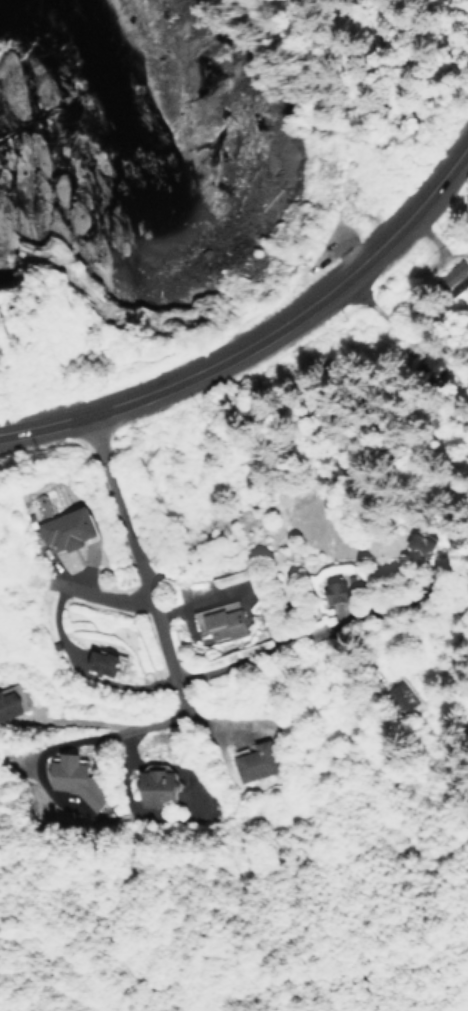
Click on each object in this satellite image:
road: (400, 63)
road: (465, 142)
road: (328, 232)
parking lot: (338, 232)
road: (277, 257)
road: (340, 278)
park: (47, 297)
road: (95, 408)
building: (65, 528)
building: (412, 544)
road: (134, 558)
road: (88, 565)
building: (334, 588)
road: (100, 590)
road: (197, 600)
building: (220, 619)
road: (55, 623)
road: (293, 635)
building: (101, 659)
building: (401, 696)
building: (9, 697)
road: (85, 720)
road: (221, 729)
road: (112, 730)
building: (252, 759)
road: (126, 766)
building: (76, 779)
building: (155, 783)

